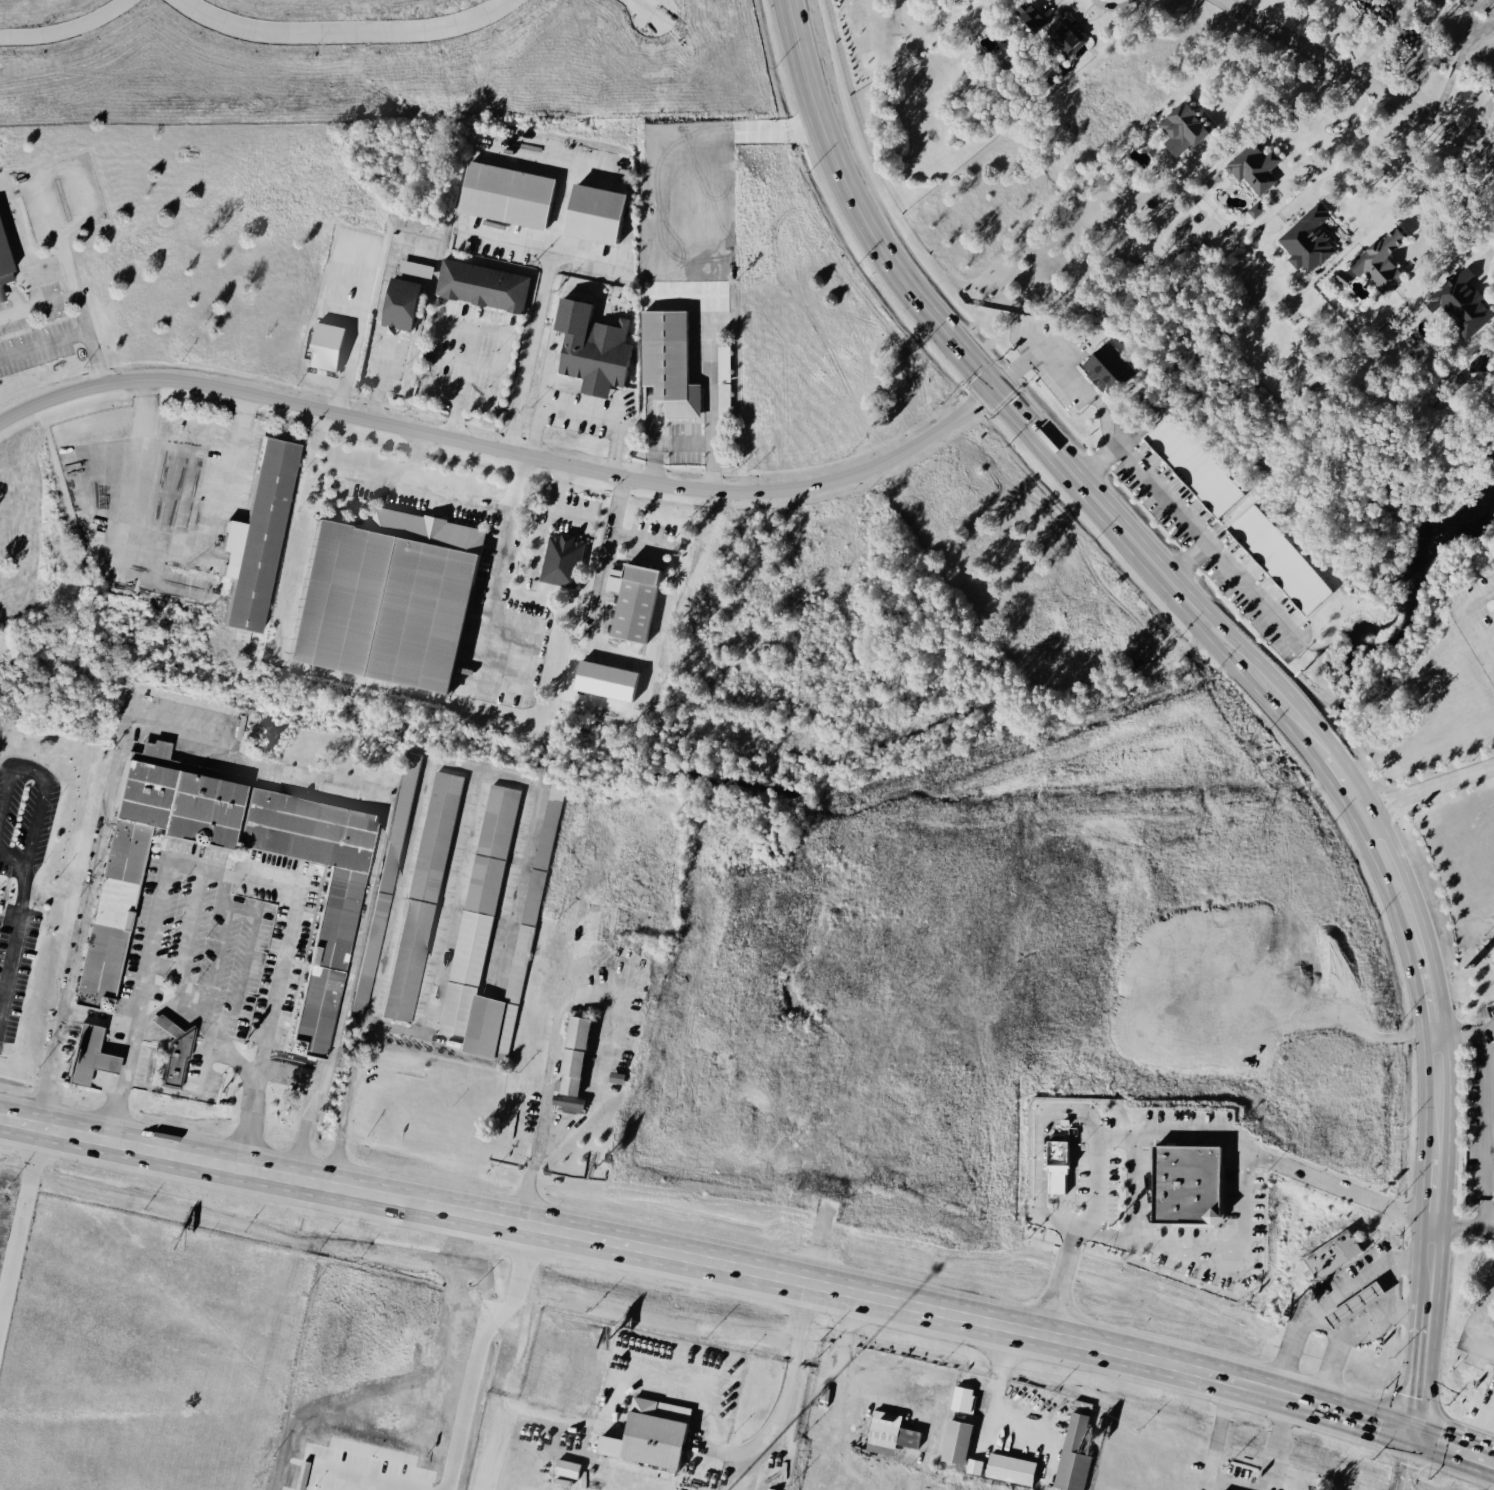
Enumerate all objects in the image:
road: (1057, 5)
road: (1118, 10)
building: (1029, 15)
road: (1376, 36)
building: (1068, 37)
road: (1455, 60)
road: (1355, 79)
road: (1248, 105)
road: (1477, 118)
building: (1181, 128)
road: (1343, 132)
road: (1362, 152)
road: (551, 156)
building: (1254, 167)
building: (504, 195)
road: (1440, 207)
building: (1255, 209)
building: (592, 213)
building: (1307, 239)
road: (340, 242)
road: (540, 248)
road: (1486, 251)
building: (1379, 261)
building: (3, 268)
building: (481, 285)
building: (402, 296)
building: (0, 297)
road: (76, 301)
building: (1460, 302)
road: (535, 305)
road: (471, 324)
road: (374, 335)
road: (42, 344)
building: (323, 346)
building: (590, 348)
building: (667, 362)
road: (349, 363)
building: (1106, 367)
road: (460, 382)
road: (580, 410)
road: (710, 411)
road: (659, 440)
road: (503, 451)
road: (411, 462)
building: (1191, 464)
road: (1098, 467)
road: (1142, 476)
road: (426, 496)
building: (253, 540)
road: (168, 546)
building: (1278, 558)
building: (561, 560)
road: (1188, 565)
road: (499, 572)
building: (386, 598)
building: (632, 601)
road: (1463, 626)
road: (1483, 637)
road: (1222, 642)
road: (1493, 677)
road: (243, 762)
road: (1426, 783)
road: (41, 795)
road: (414, 817)
building: (383, 884)
road: (276, 887)
building: (480, 892)
building: (420, 895)
road: (190, 918)
building: (108, 924)
road: (444, 931)
road: (14, 935)
building: (326, 956)
road: (178, 969)
road: (1490, 1031)
road: (1460, 1038)
road: (551, 1046)
building: (173, 1050)
building: (87, 1054)
building: (572, 1055)
road: (1489, 1060)
road: (286, 1073)
road: (1489, 1094)
building: (568, 1102)
road: (1043, 1112)
road: (1489, 1128)
parking lot: (1478, 1131)
road: (1483, 1131)
road: (1488, 1165)
building: (1057, 1166)
road: (1095, 1181)
building: (1184, 1181)
road: (1135, 1188)
road: (1488, 1198)
road: (1457, 1229)
road: (1488, 1231)
road: (647, 1247)
building: (1331, 1253)
road: (1056, 1279)
road: (1388, 1283)
road: (1326, 1297)
building: (1354, 1303)
gas station: (1354, 1303)
road: (1325, 1322)
road: (1474, 1322)
road: (842, 1328)
road: (1348, 1330)
road: (788, 1371)
road: (924, 1395)
building: (962, 1398)
road: (994, 1400)
road: (1415, 1400)
road: (1351, 1413)
road: (1480, 1418)
road: (607, 1424)
building: (890, 1428)
traffic signals: (1411, 1432)
building: (648, 1433)
building: (956, 1440)
road: (1278, 1445)
road: (1452, 1447)
road: (1214, 1449)
building: (1072, 1455)
road: (828, 1456)
road: (1403, 1461)
building: (566, 1467)
building: (1009, 1468)
road: (759, 1475)

